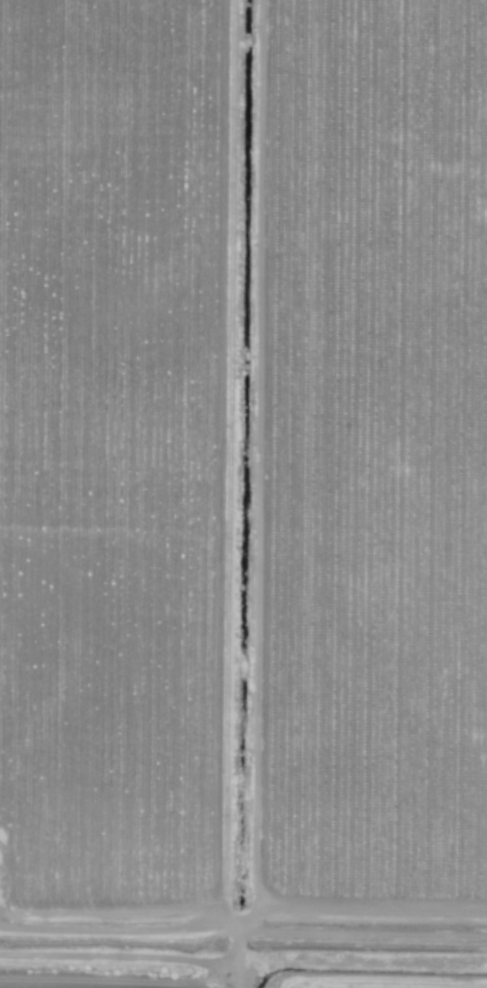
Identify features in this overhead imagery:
road: (234, 973)

